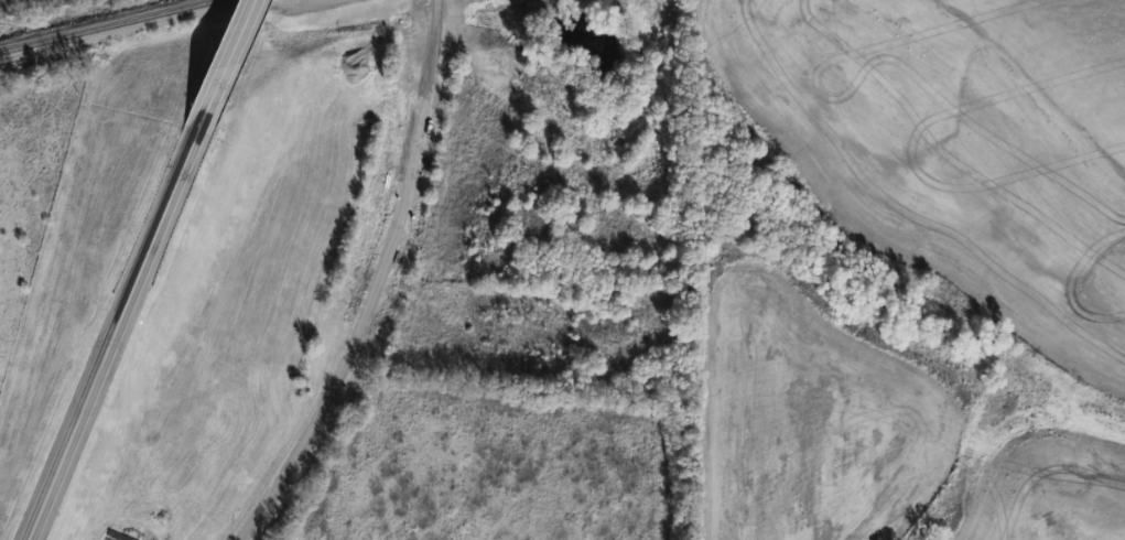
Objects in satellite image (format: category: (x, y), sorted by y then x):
railway: (115, 26)
road: (230, 51)
road: (119, 321)

